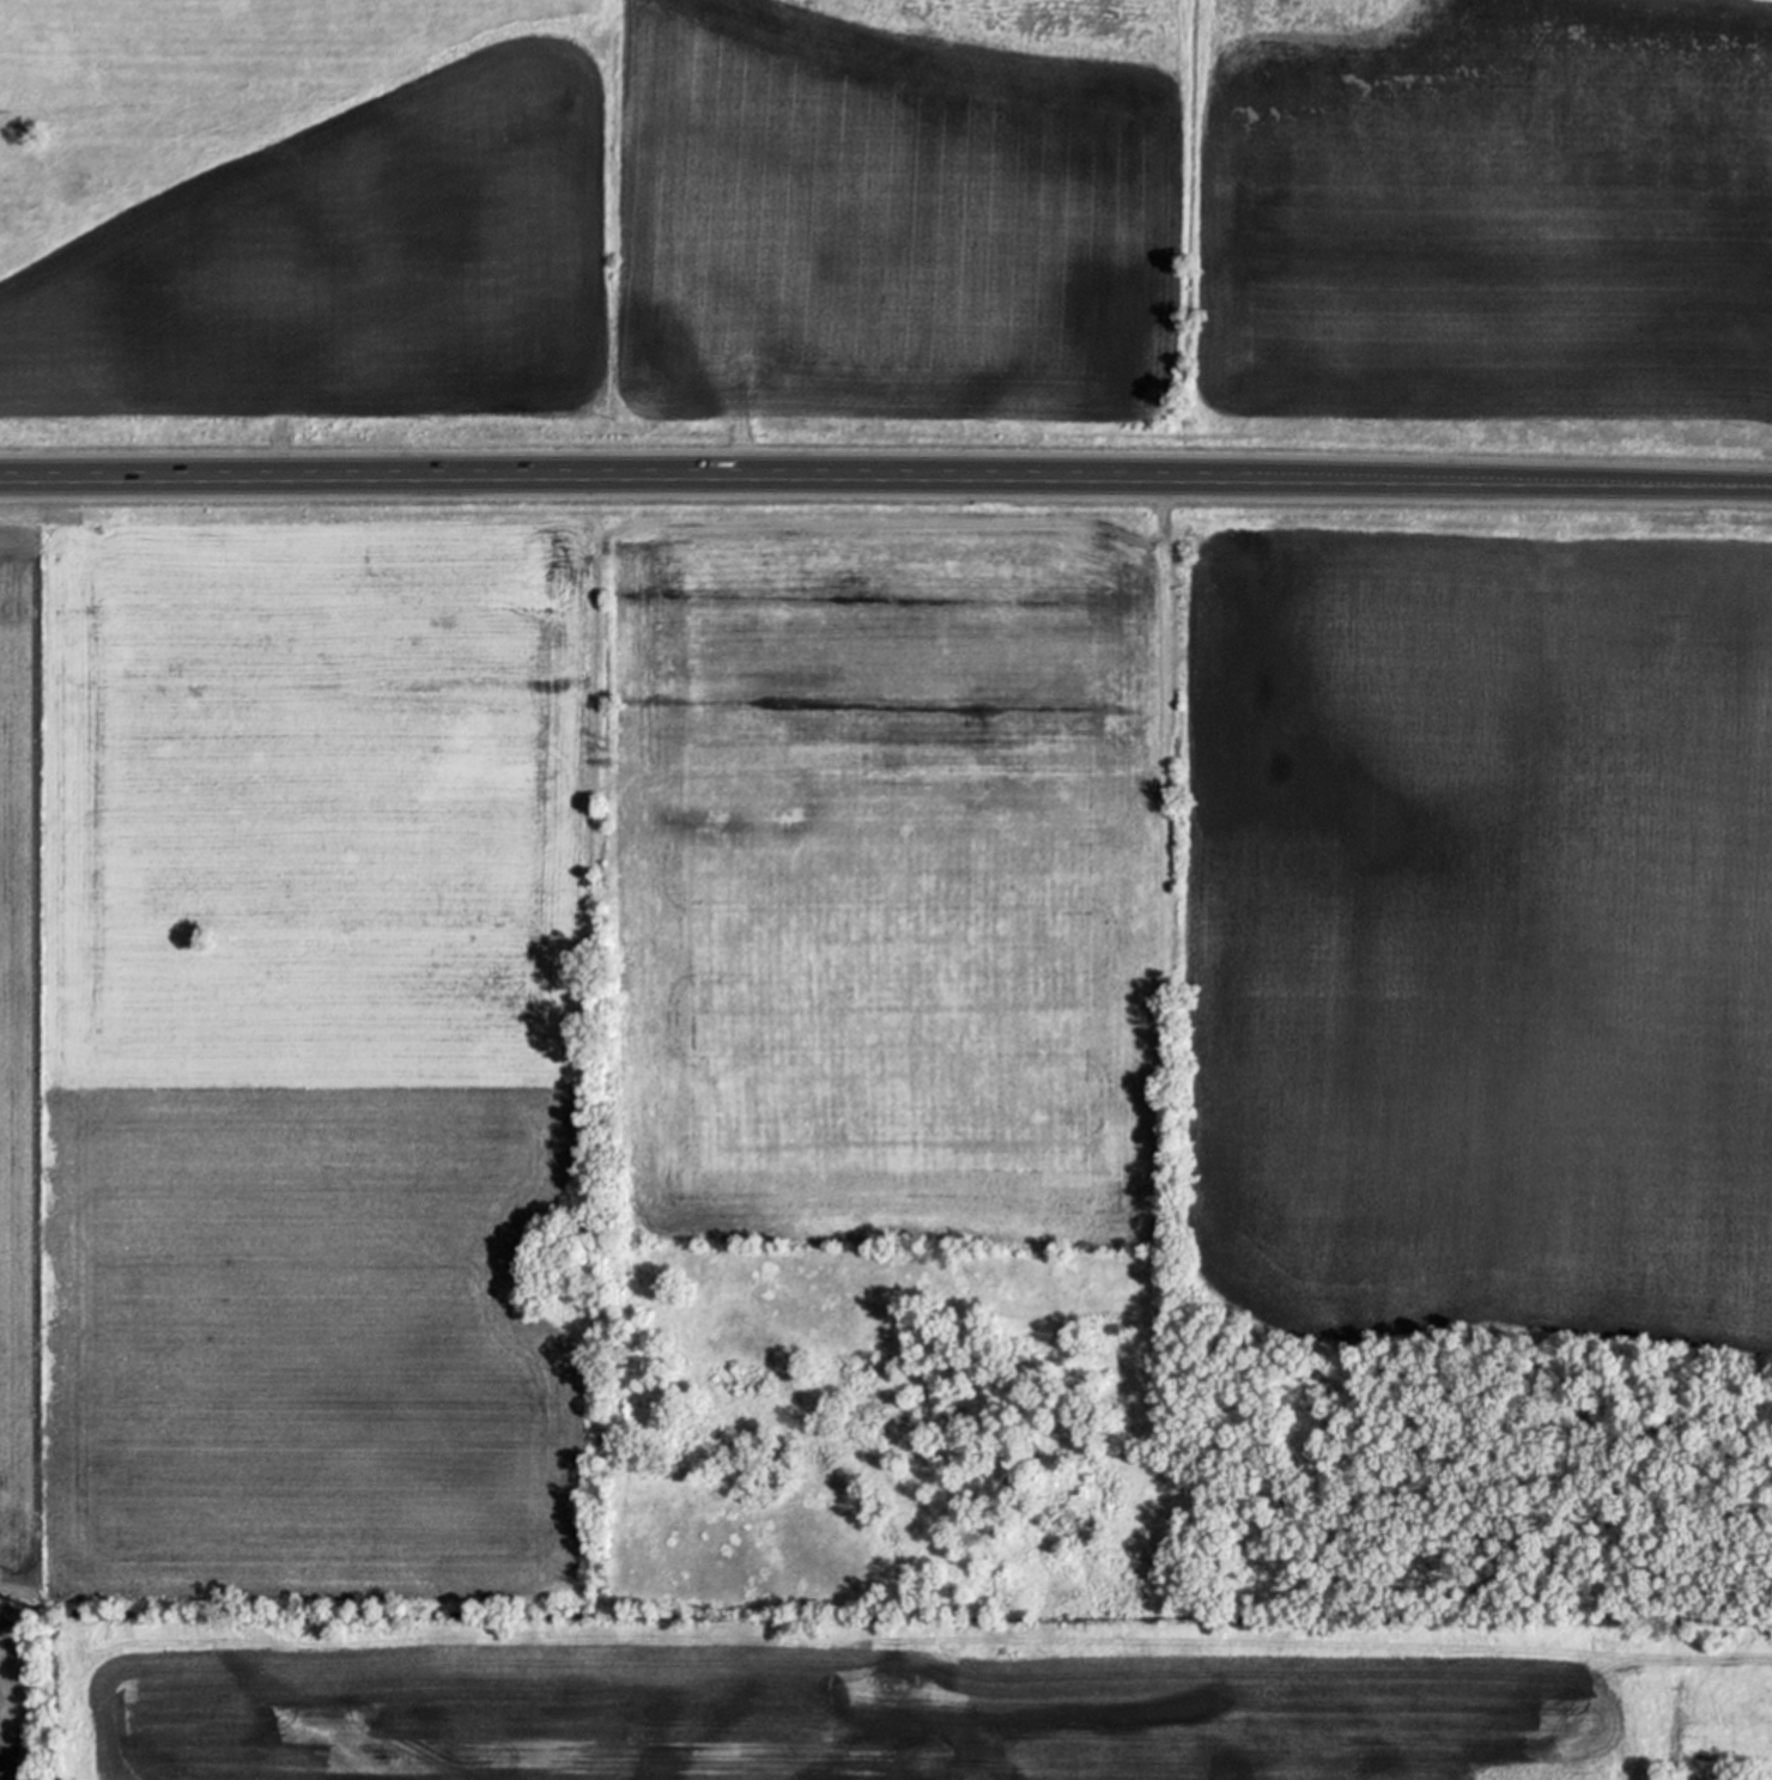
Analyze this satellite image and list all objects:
road: (886, 482)

